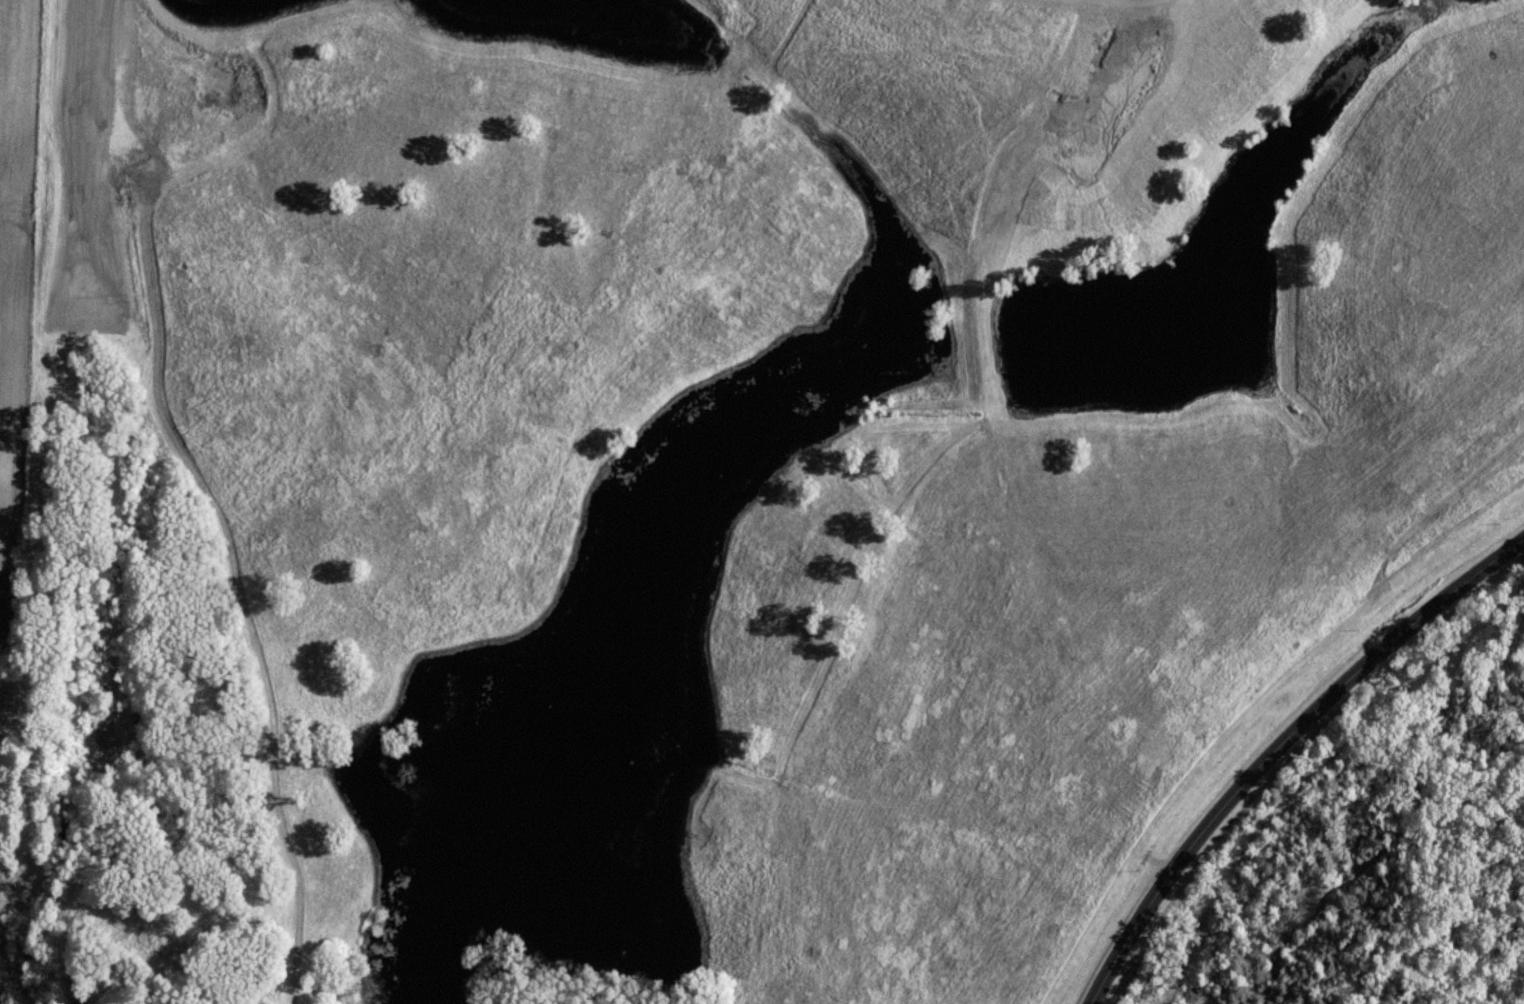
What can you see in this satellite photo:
road: (708, 110)
road: (602, 247)
road: (1277, 741)

